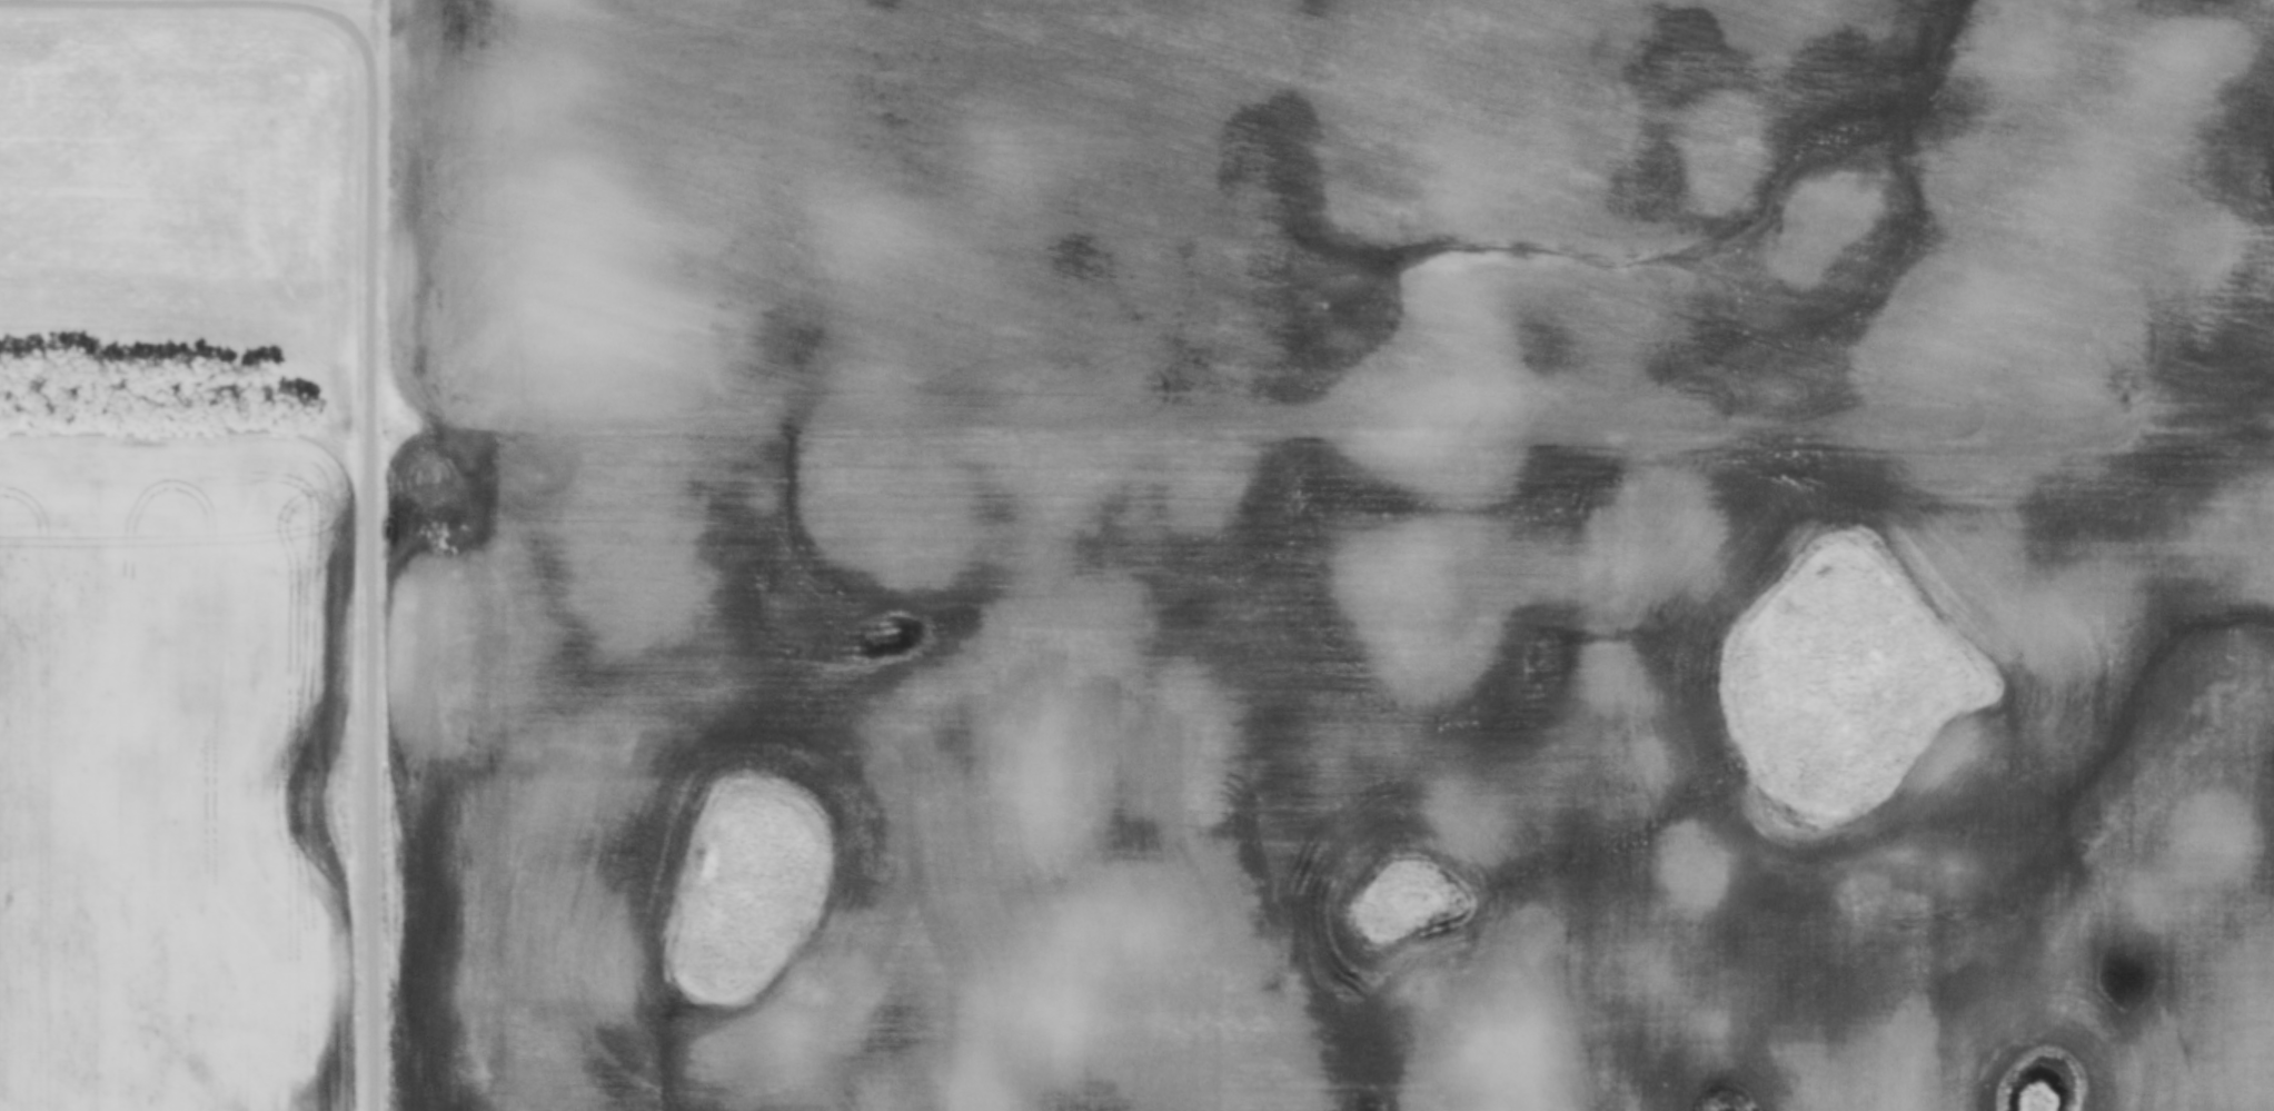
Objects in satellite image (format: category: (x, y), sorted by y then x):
road: (199, 3)
road: (380, 28)
road: (375, 583)

